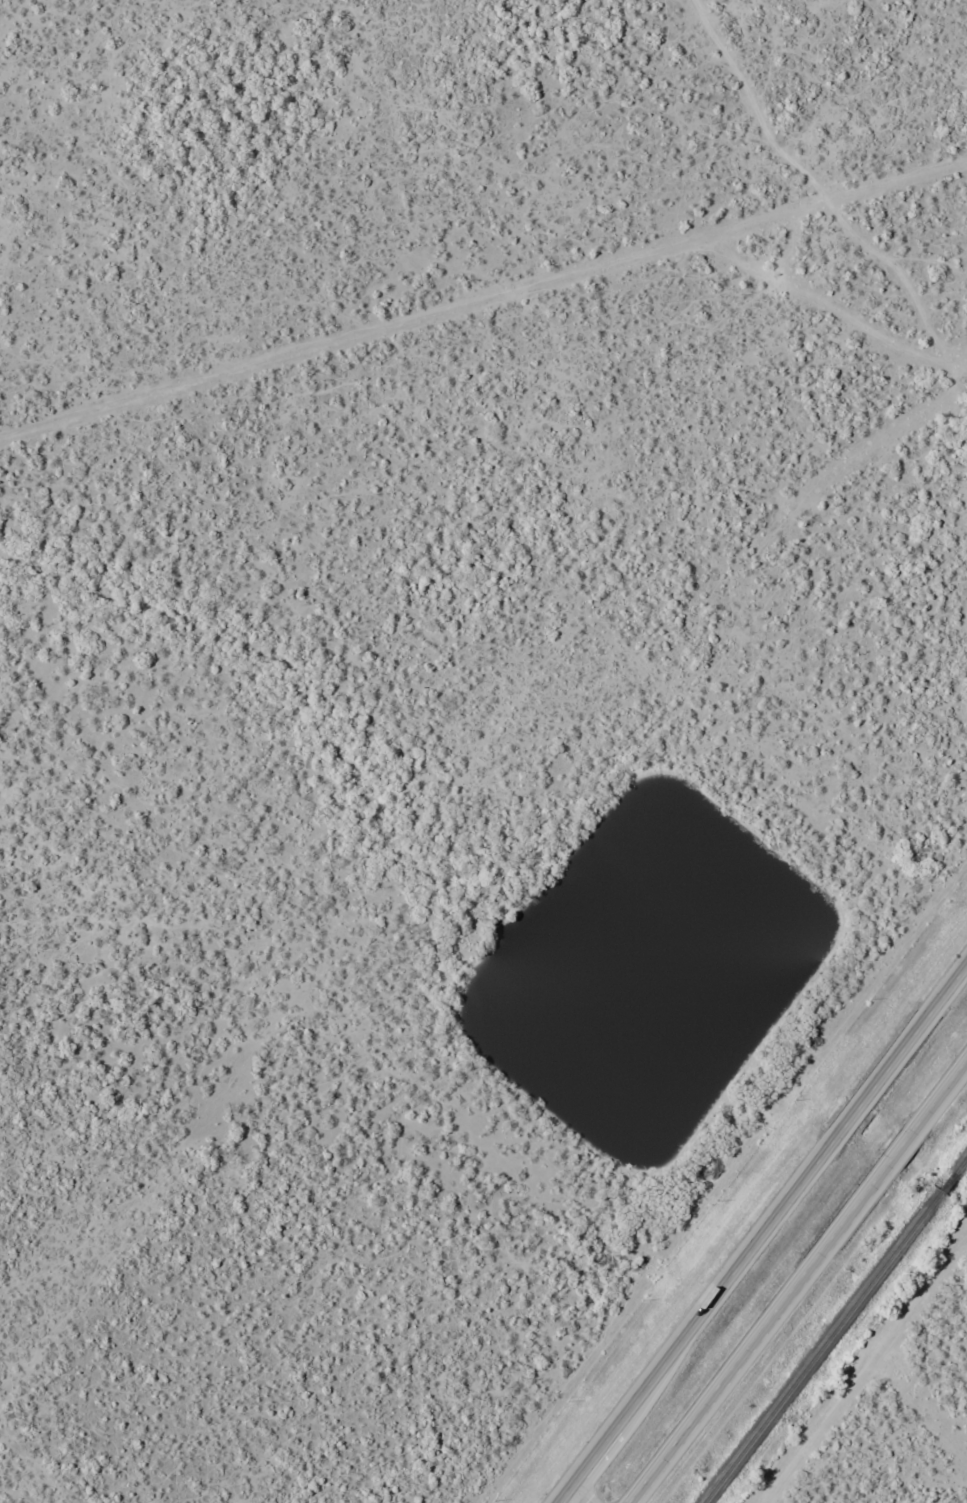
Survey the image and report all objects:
road: (762, 1233)
road: (805, 1290)
railway: (835, 1330)
road: (571, 1498)

